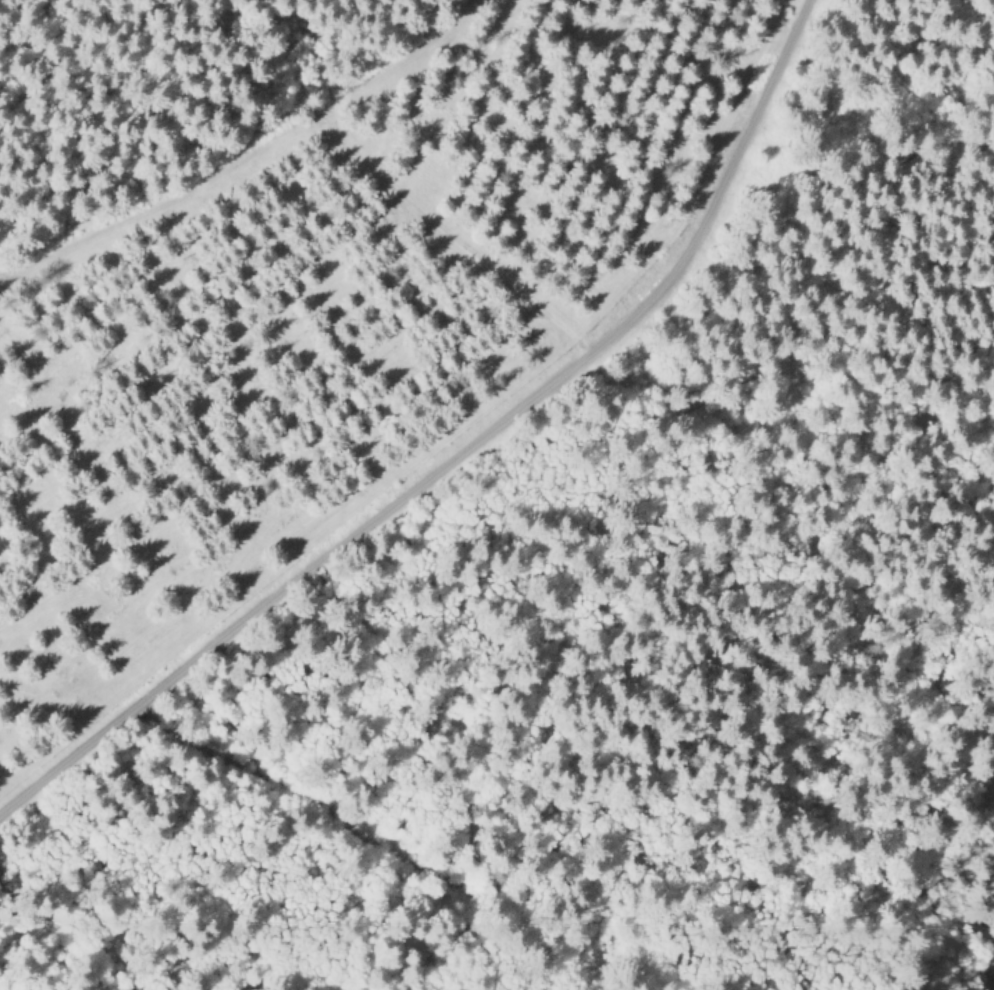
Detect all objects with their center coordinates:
road: (458, 450)
road: (612, 494)

